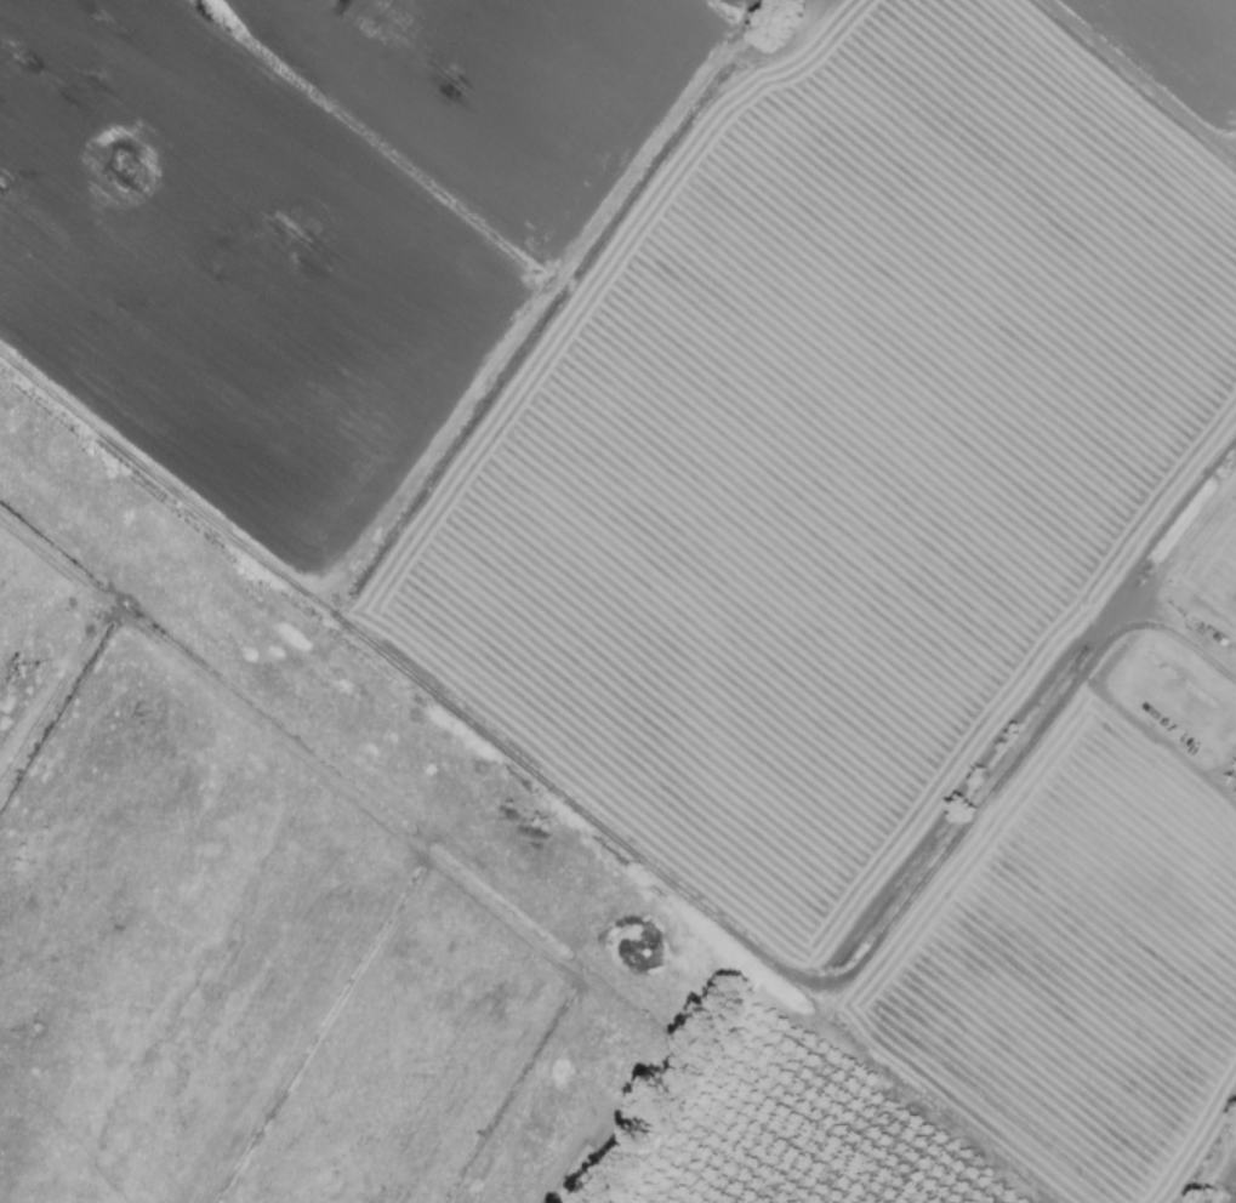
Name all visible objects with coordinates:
crop: (617, 601)
road: (642, 863)

